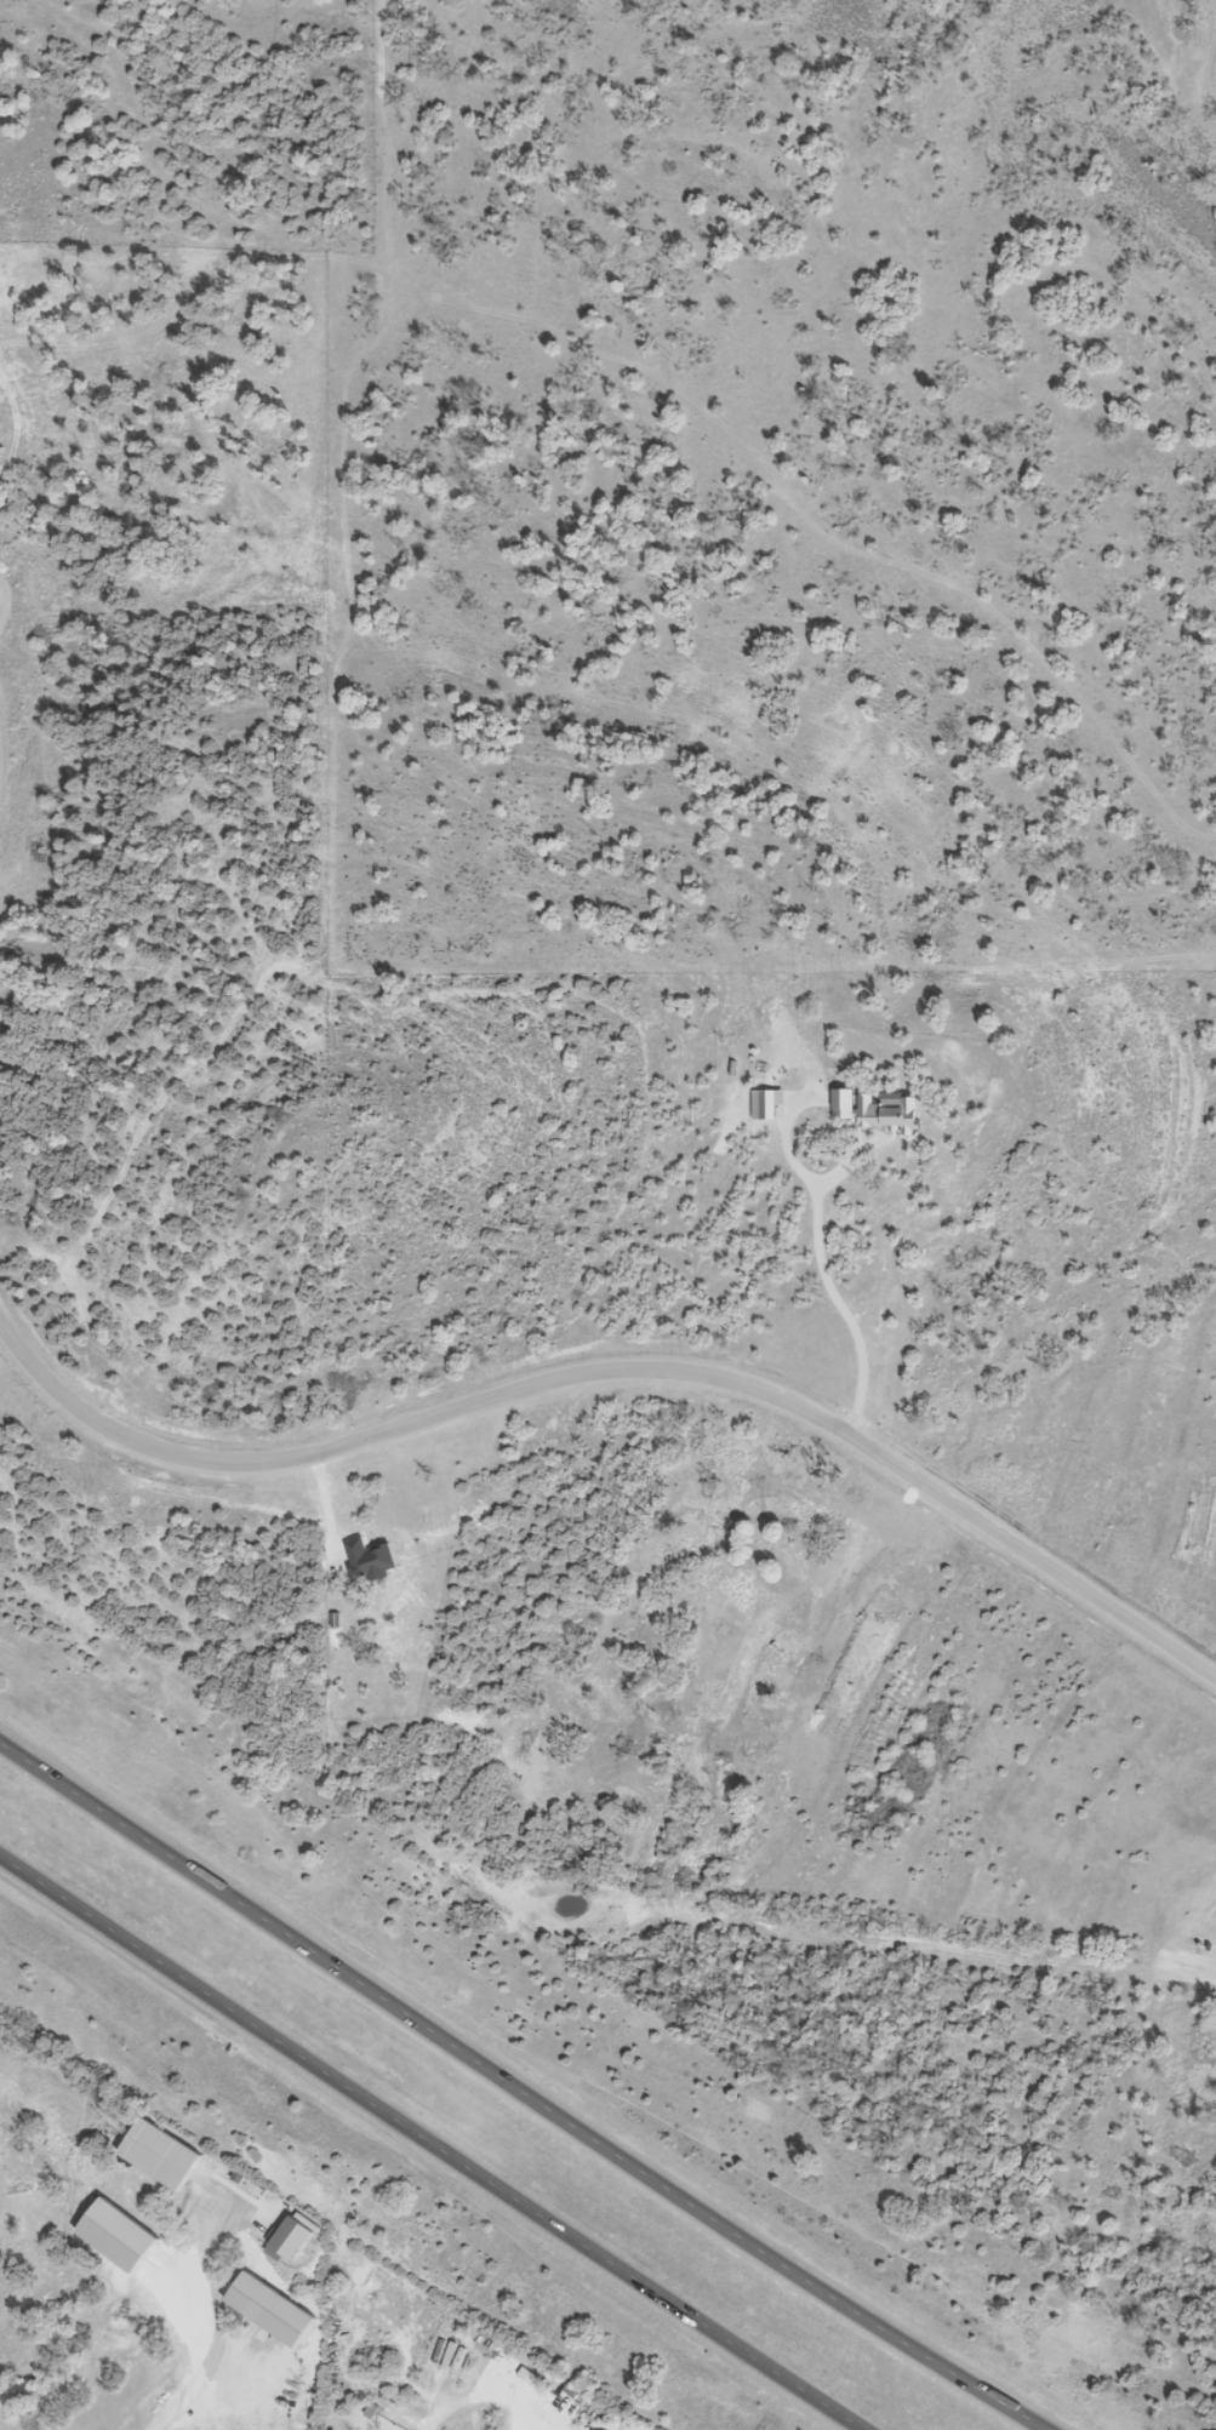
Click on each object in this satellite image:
road: (846, 1304)
road: (620, 1370)
road: (527, 2086)
road: (432, 2145)
building: (164, 2155)
building: (297, 2239)
road: (227, 2344)
road: (479, 2403)

